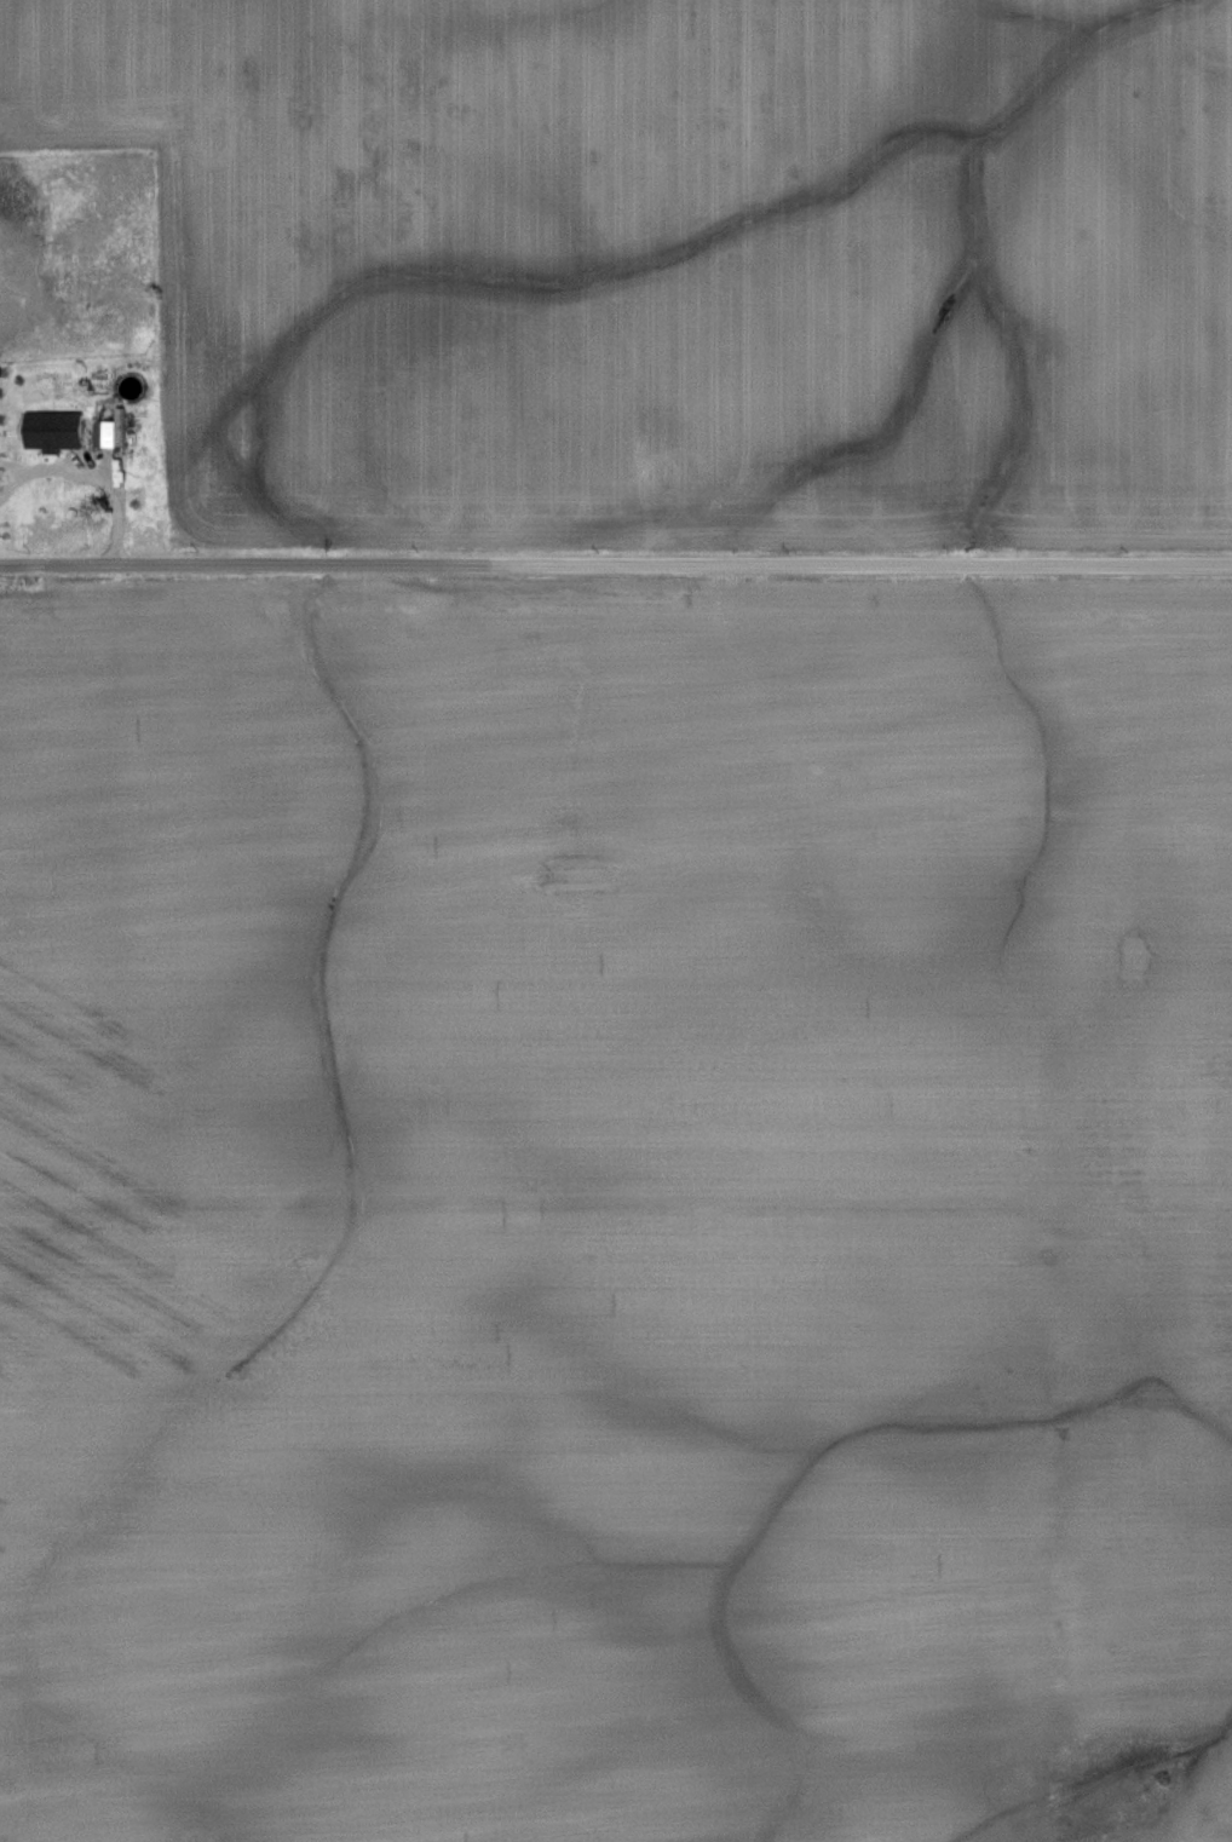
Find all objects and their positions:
road: (615, 564)

